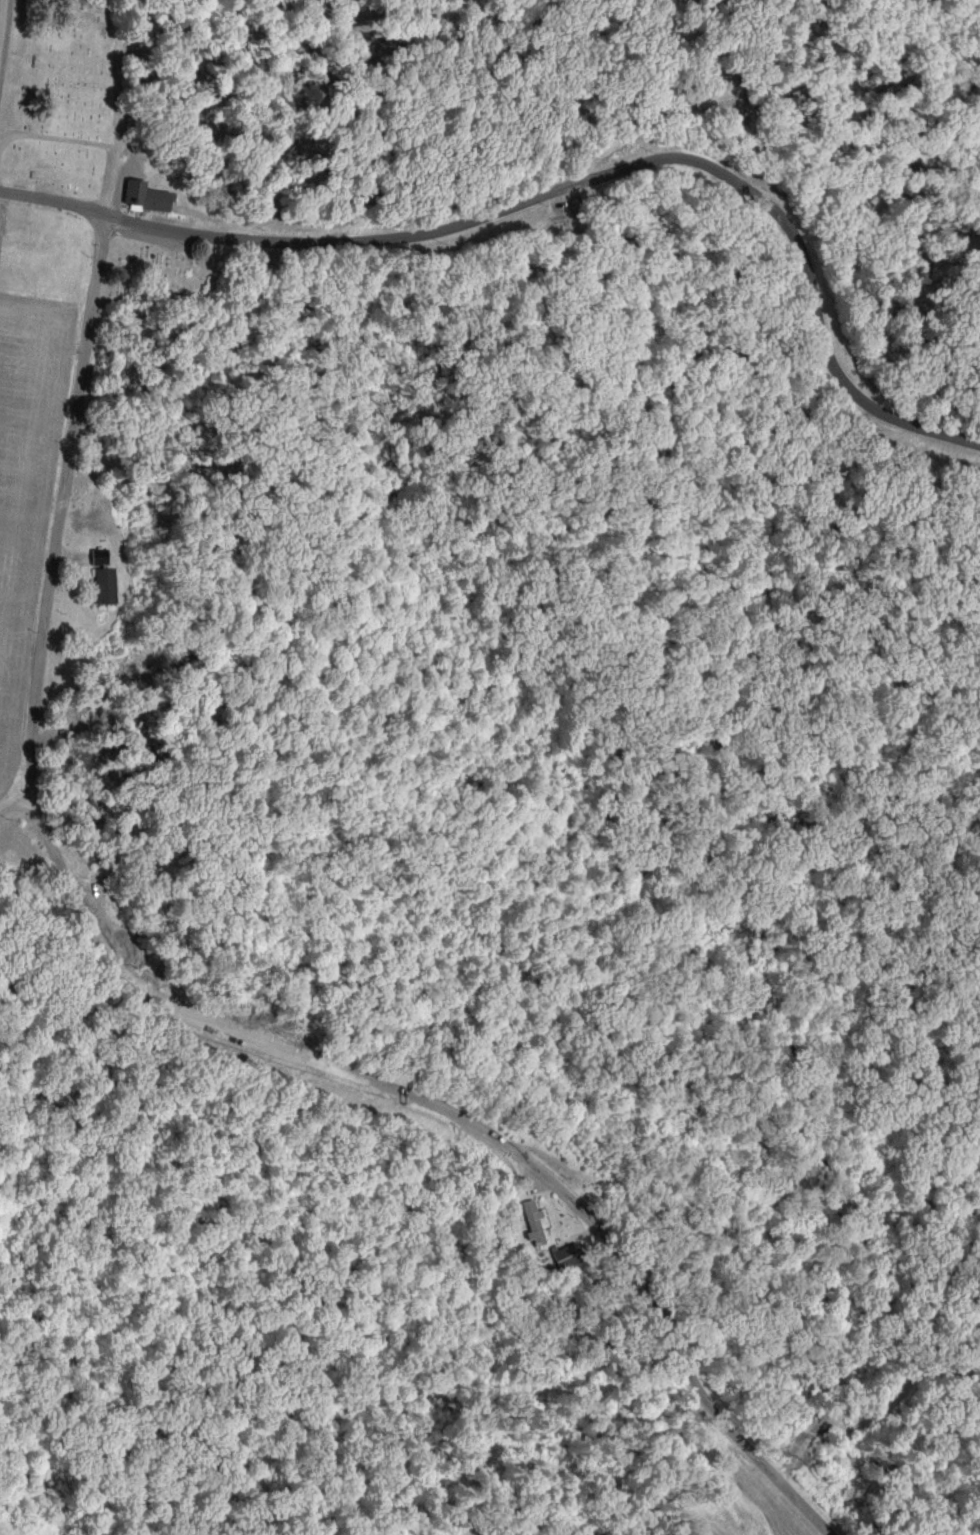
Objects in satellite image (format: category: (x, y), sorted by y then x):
road: (608, 175)
road: (7, 195)
building: (141, 196)
road: (54, 204)
building: (94, 555)
building: (99, 584)
road: (14, 805)
road: (176, 1023)
building: (529, 1221)
building: (563, 1255)

